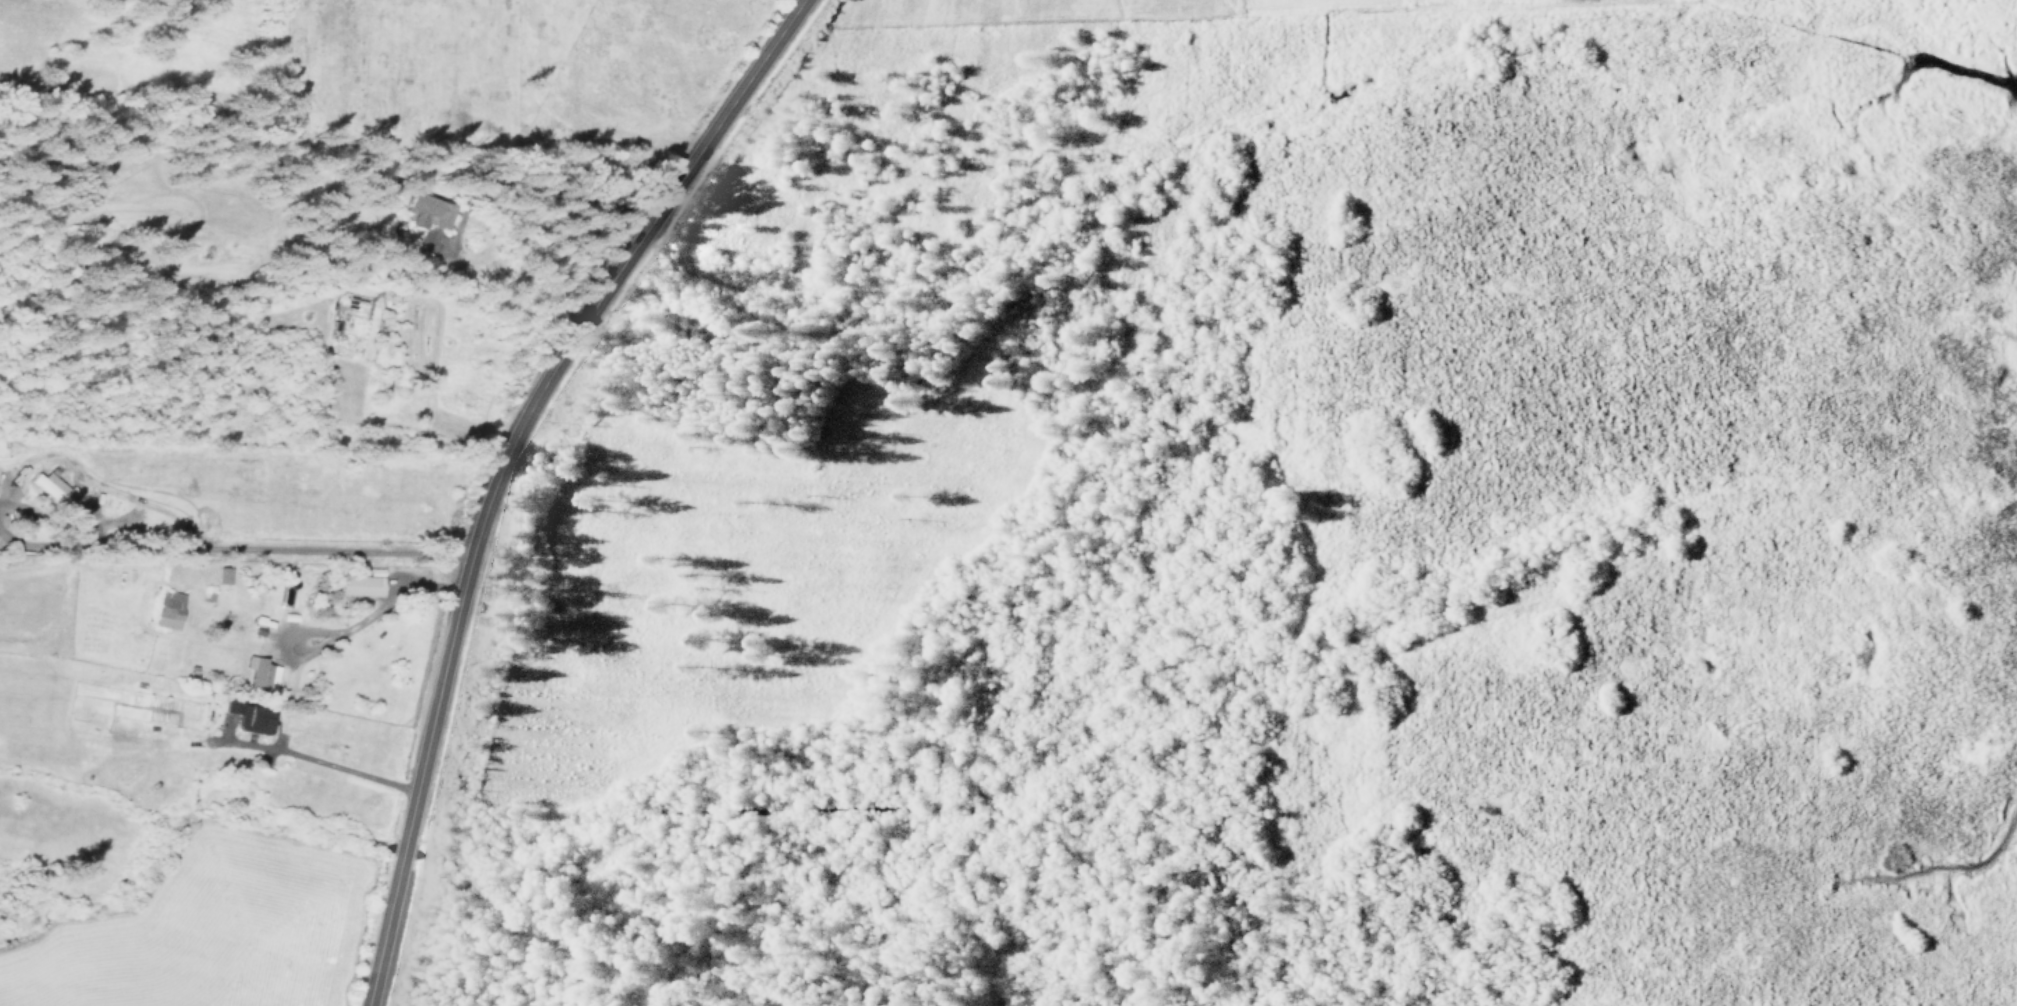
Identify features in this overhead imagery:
road: (1226, 7)
road: (1237, 7)
road: (1116, 10)
road: (1034, 24)
crop: (402, 68)
building: (427, 211)
road: (499, 466)
building: (52, 488)
road: (1273, 511)
road: (234, 560)
building: (223, 575)
building: (356, 591)
building: (168, 609)
road: (333, 629)
building: (259, 668)
road: (1231, 673)
building: (250, 717)
road: (286, 750)
road: (1282, 918)
crop: (230, 929)

